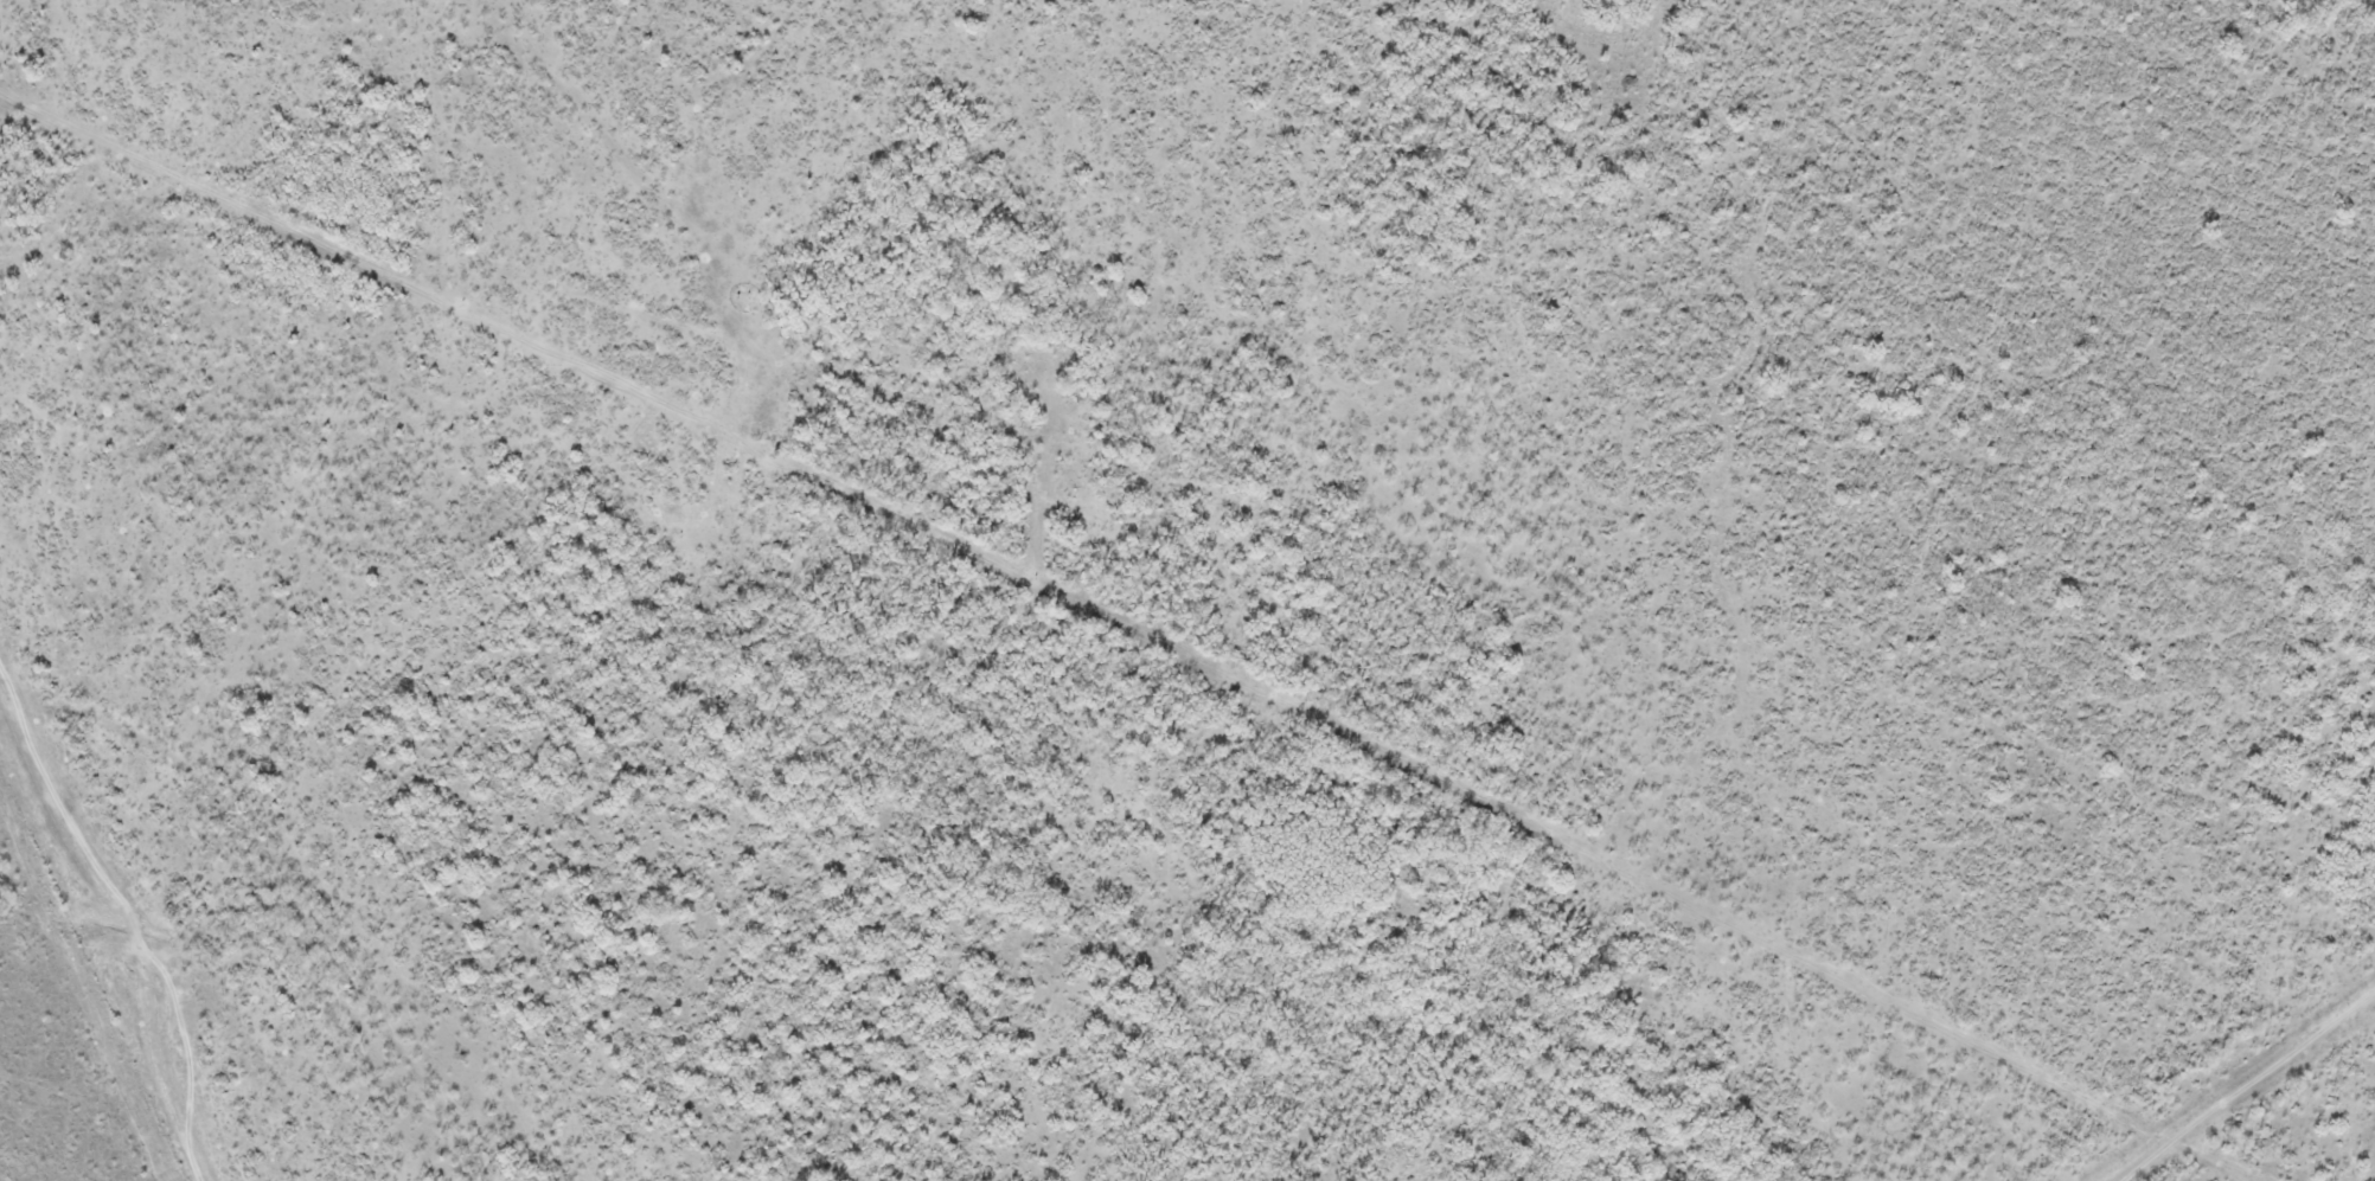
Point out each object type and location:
road: (87, 1012)

